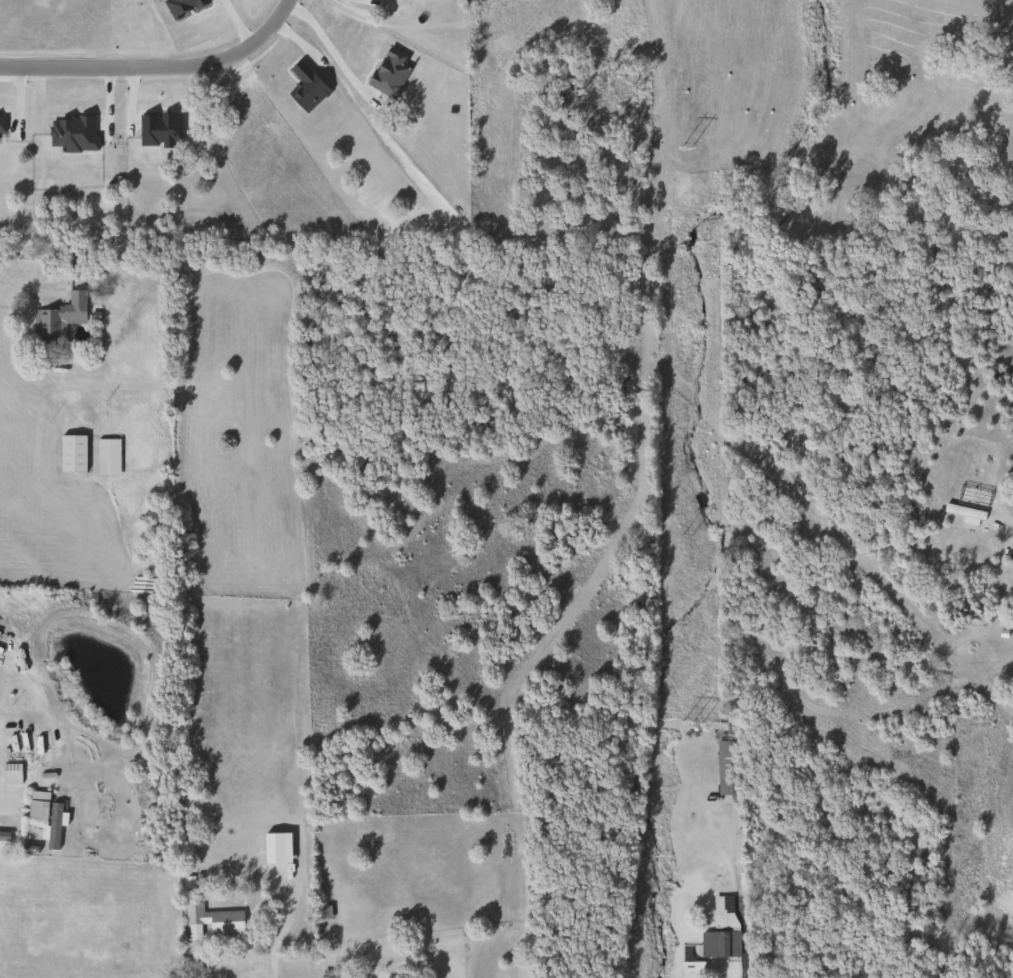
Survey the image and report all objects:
road: (334, 53)
road: (163, 71)
power tower: (687, 148)
road: (25, 290)
building: (55, 319)
building: (69, 454)
building: (104, 458)
road: (1012, 528)
power tower: (687, 536)
power tower: (693, 722)
building: (723, 768)
building: (9, 772)
road: (4, 802)
building: (3, 835)
road: (737, 898)
building: (720, 912)
building: (209, 923)
road: (276, 935)
building: (717, 944)
road: (204, 972)
building: (323, 974)

